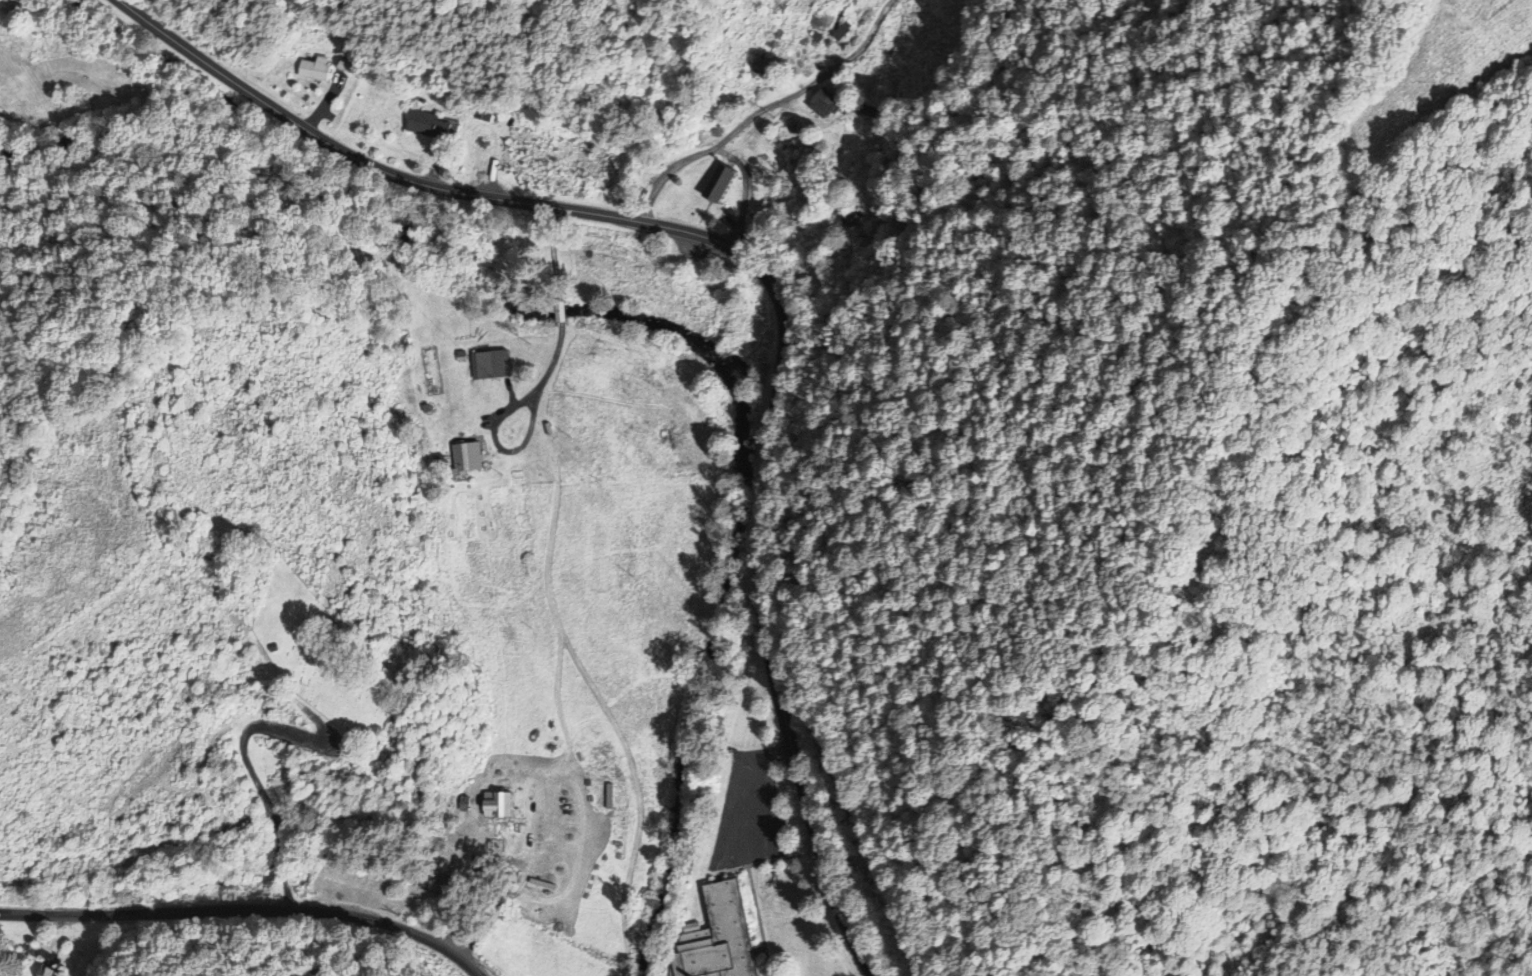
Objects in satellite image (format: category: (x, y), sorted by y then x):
road: (758, 108)
road: (746, 191)
road: (548, 253)
road: (767, 278)
road: (561, 313)
road: (554, 362)
road: (525, 439)
road: (254, 783)
road: (142, 915)
road: (387, 925)

